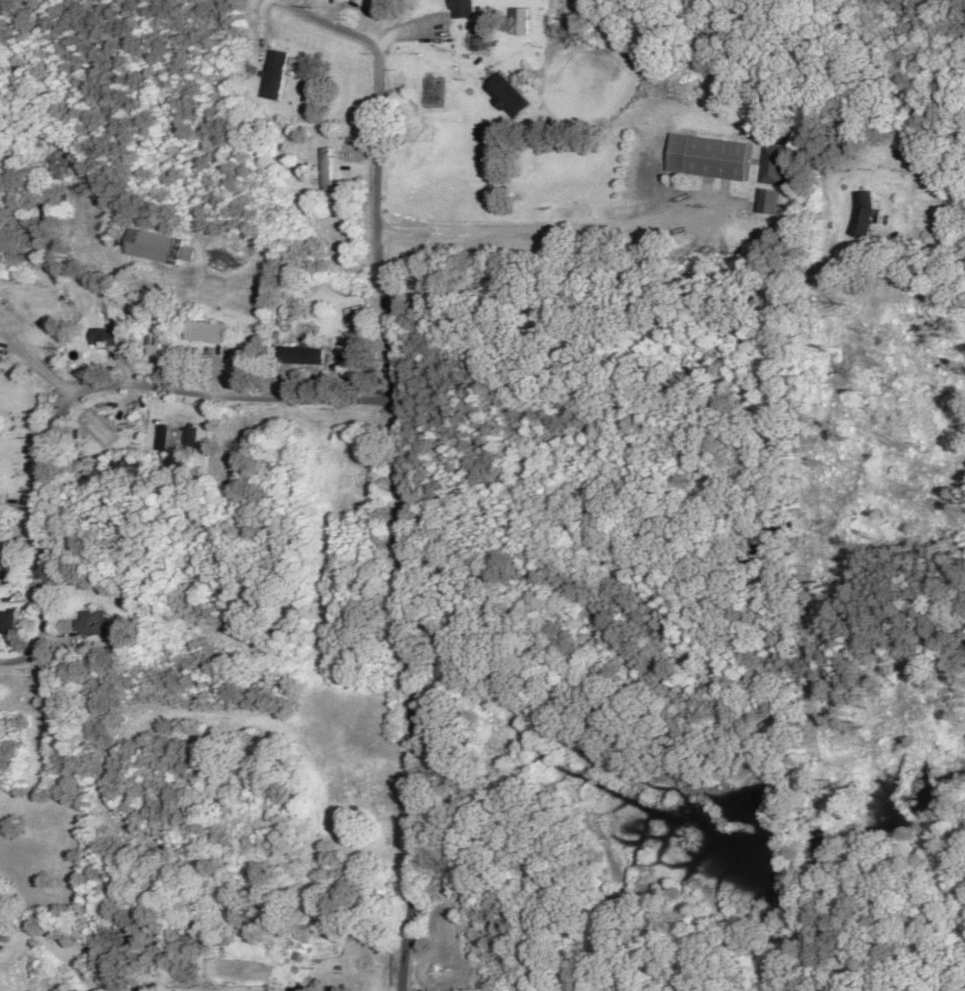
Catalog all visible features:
building: (357, 1)
building: (461, 9)
building: (519, 21)
building: (274, 75)
building: (506, 96)
building: (709, 158)
building: (772, 166)
building: (768, 203)
building: (864, 215)
building: (353, 316)
building: (204, 332)
building: (104, 338)
building: (301, 356)
road: (503, 369)
road: (85, 402)
building: (175, 440)
road: (432, 495)
building: (7, 621)
building: (90, 624)

